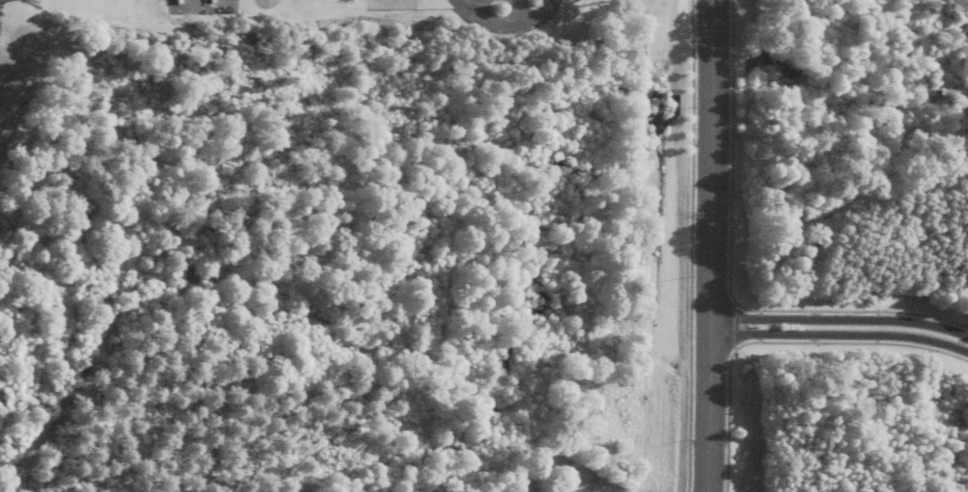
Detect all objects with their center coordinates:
road: (506, 27)
road: (711, 246)
road: (840, 320)
road: (840, 335)

